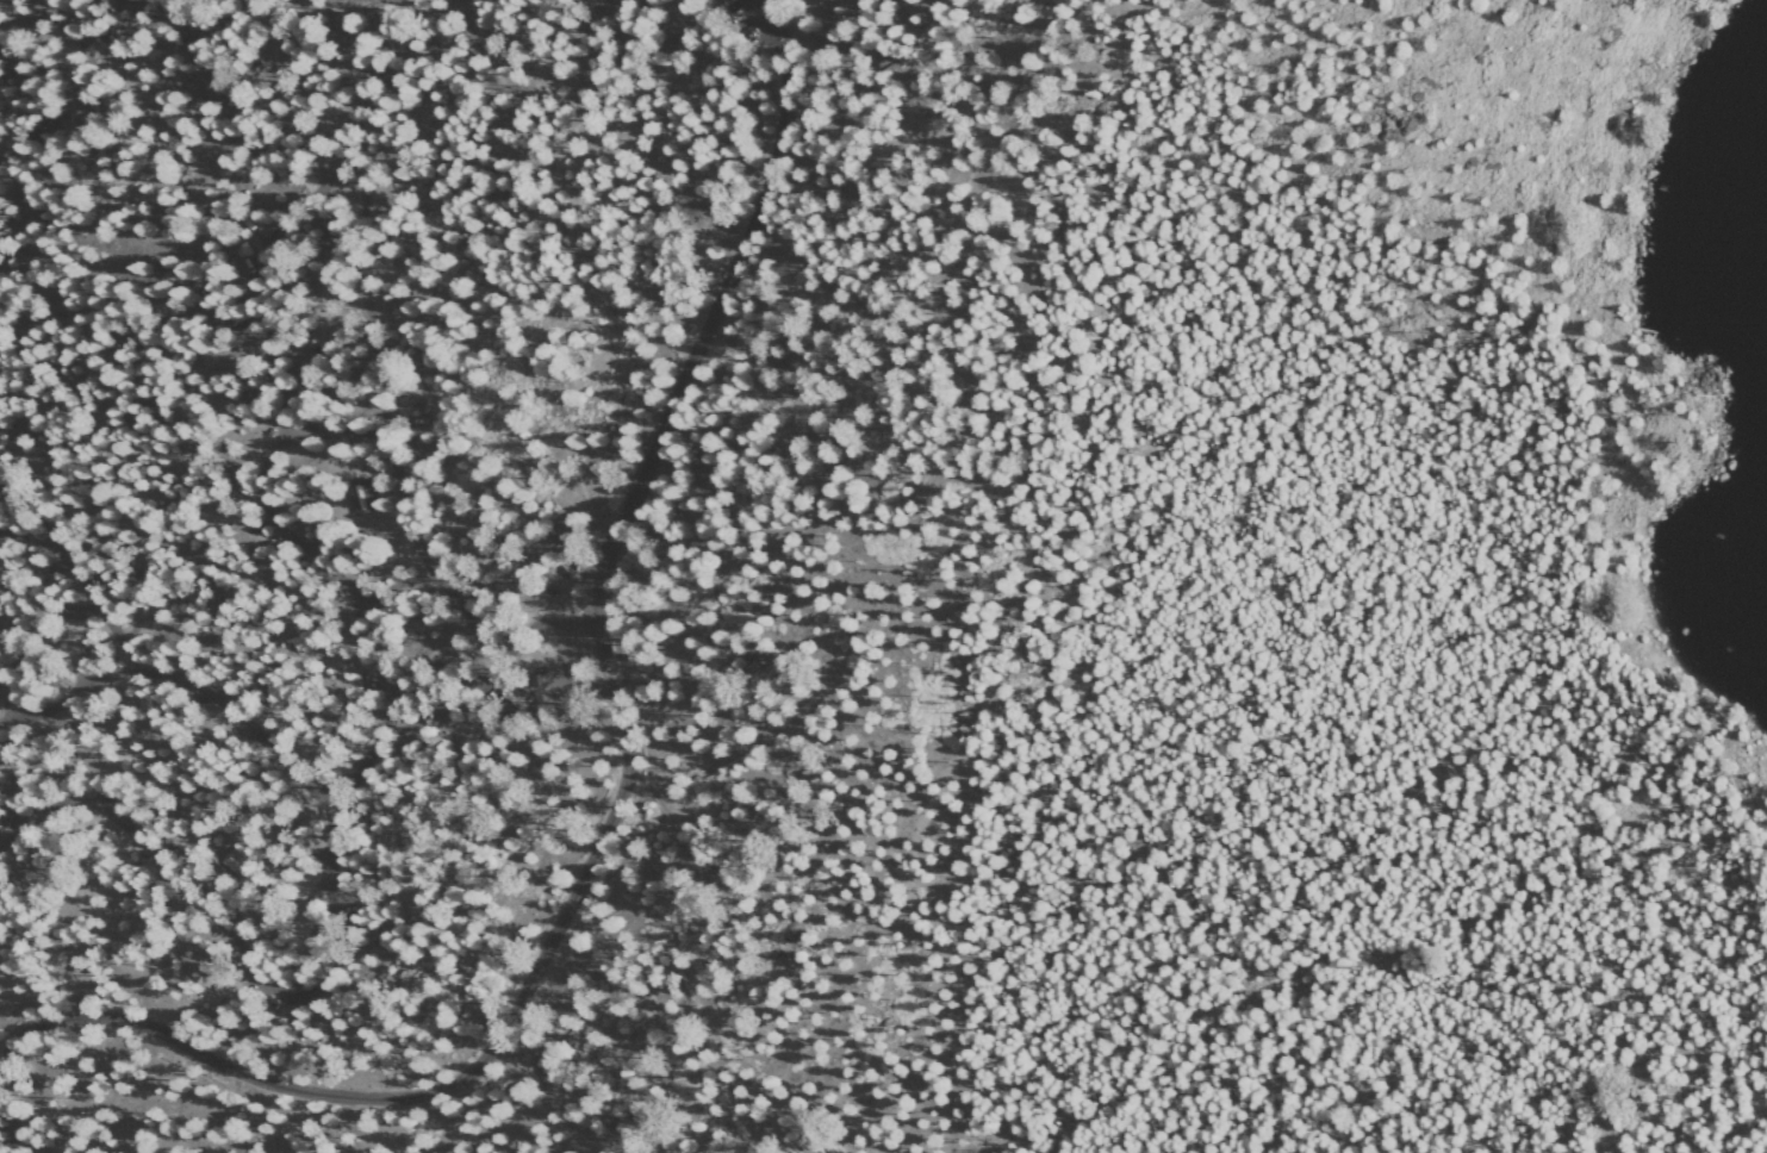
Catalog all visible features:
road: (771, 8)
road: (965, 135)
road: (898, 164)
road: (259, 251)
road: (330, 431)
building: (361, 500)
road: (1021, 576)
road: (71, 579)
road: (396, 580)
toll booth: (617, 655)
road: (592, 665)
road: (174, 679)
road: (618, 792)
road: (325, 836)
road: (166, 867)
road: (543, 1082)
road: (6, 1135)

